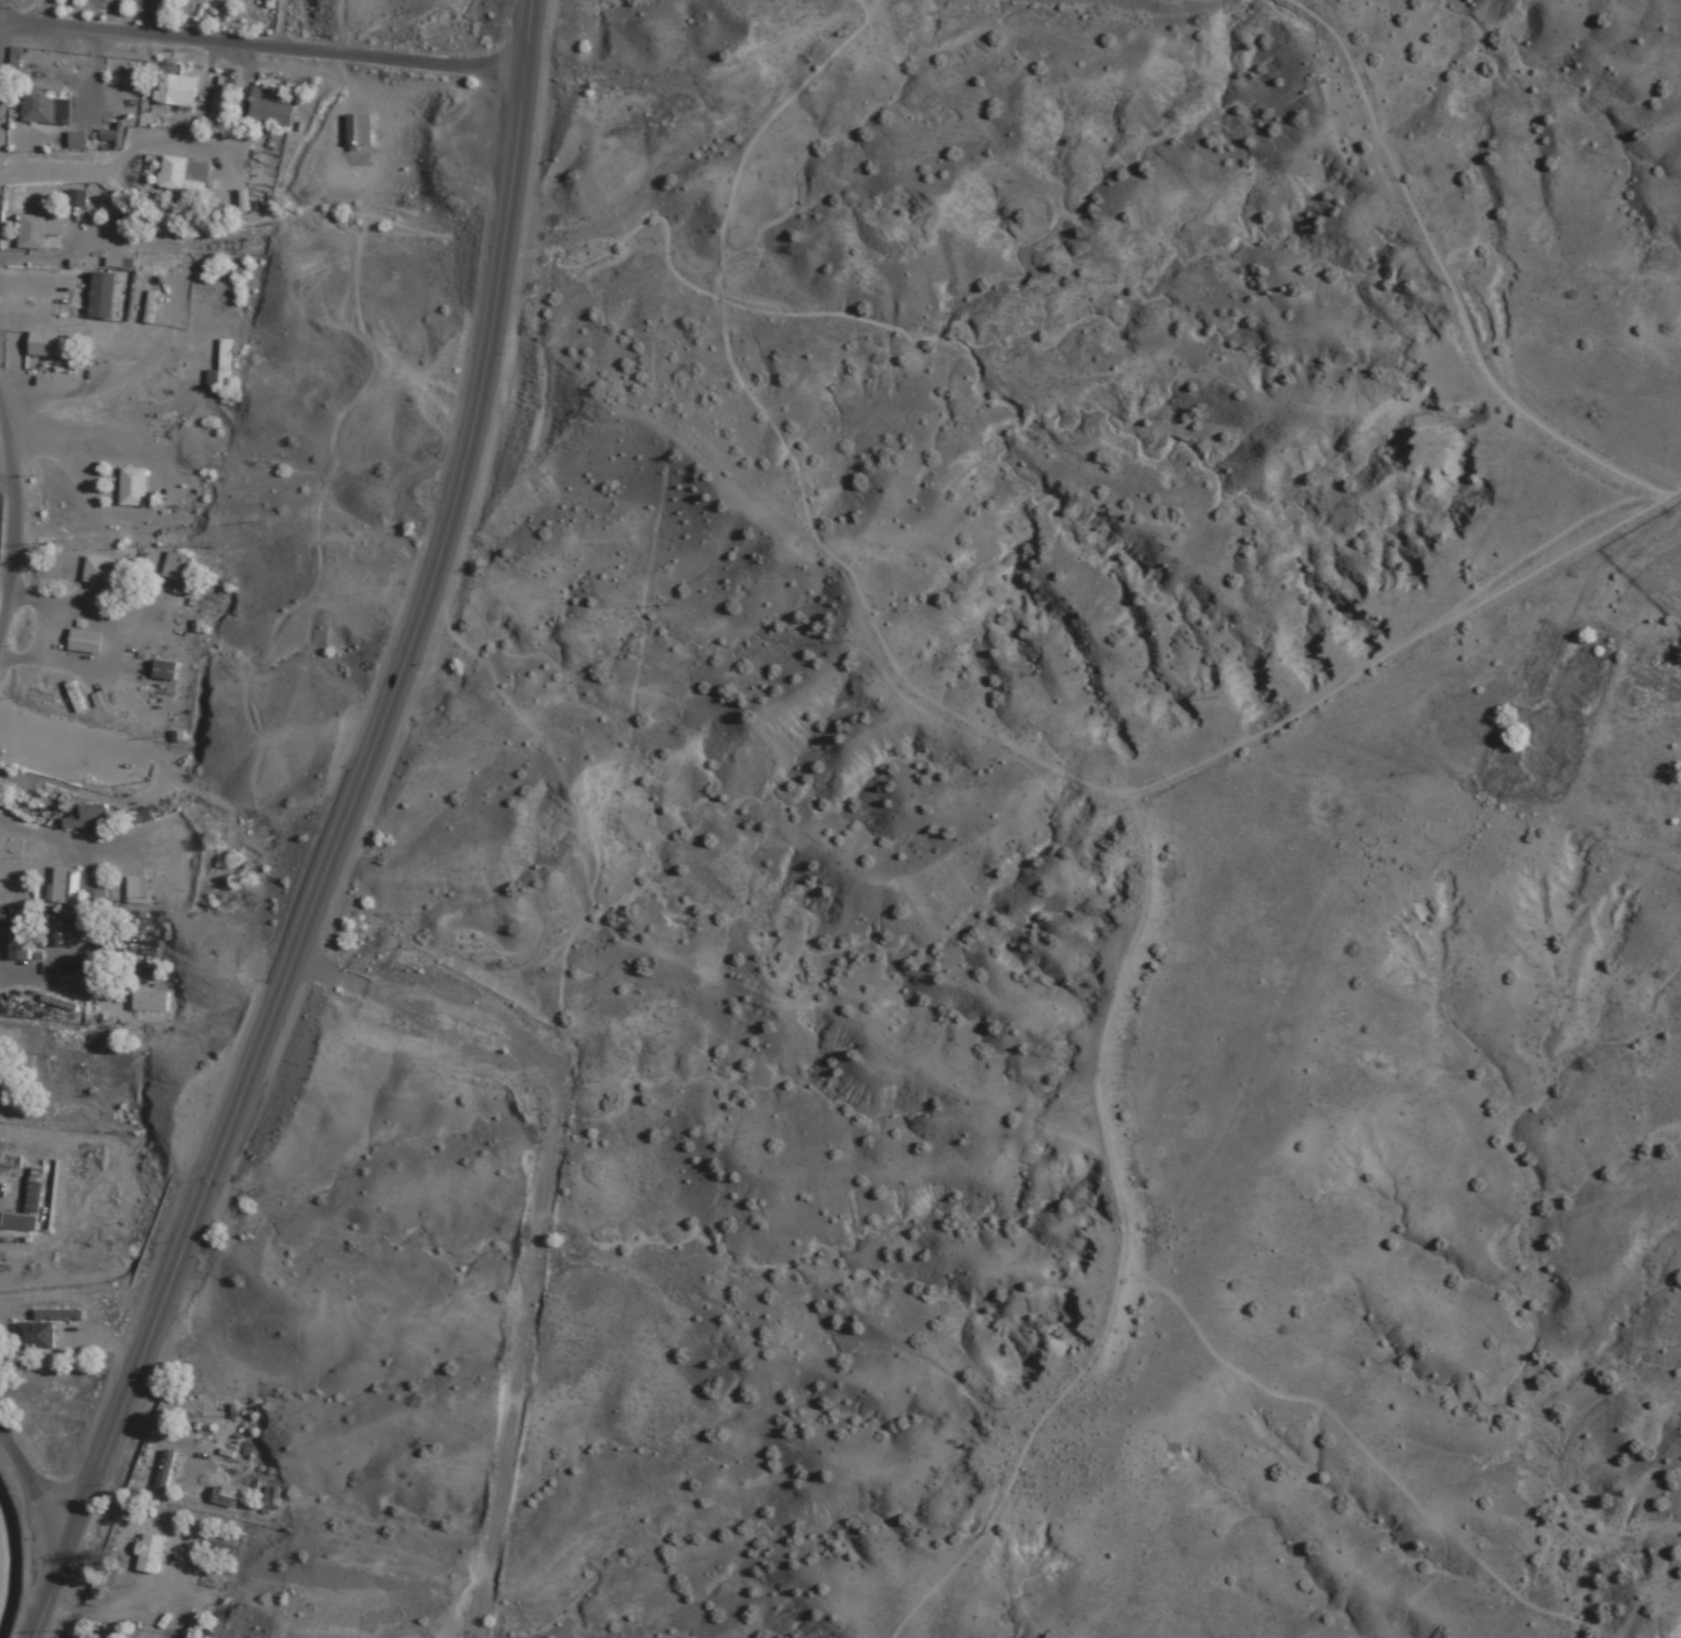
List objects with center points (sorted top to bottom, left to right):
building: (71, 7)
road: (309, 28)
road: (263, 51)
building: (175, 92)
building: (44, 106)
building: (267, 111)
building: (358, 131)
building: (75, 141)
building: (182, 178)
building: (76, 198)
building: (37, 232)
building: (29, 290)
road: (490, 334)
building: (51, 346)
building: (224, 361)
building: (132, 488)
road: (7, 557)
building: (174, 567)
building: (98, 573)
building: (164, 672)
road: (178, 730)
building: (92, 815)
building: (73, 888)
building: (21, 933)
building: (63, 939)
building: (150, 1003)
road: (219, 1148)
building: (8, 1159)
building: (32, 1192)
building: (18, 1222)
building: (43, 1329)
building: (168, 1472)
building: (270, 1495)
road: (30, 1506)
building: (224, 1546)

